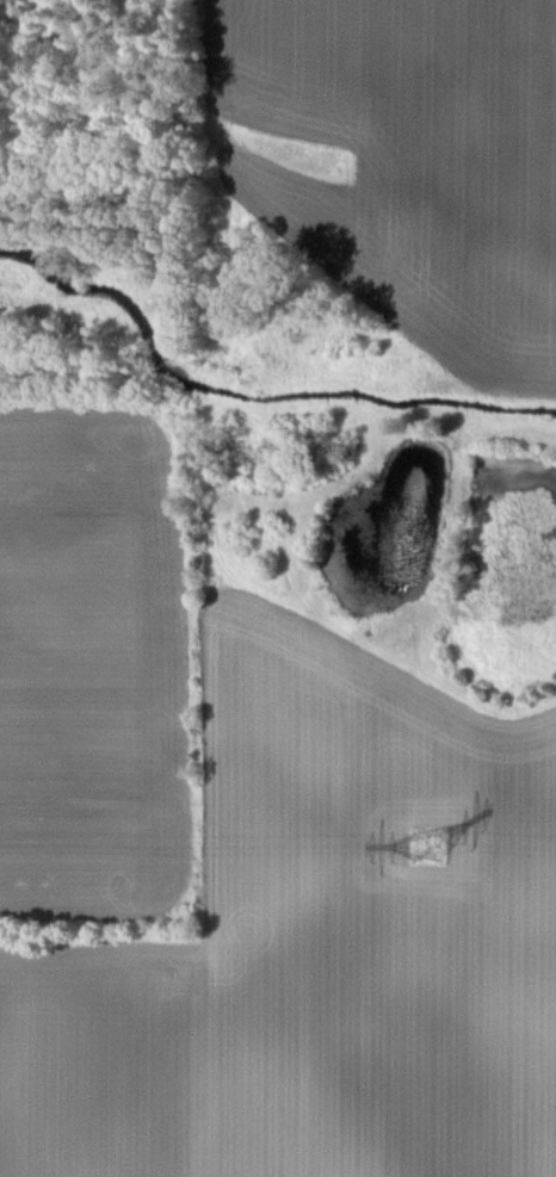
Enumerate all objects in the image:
power tower: (427, 847)

